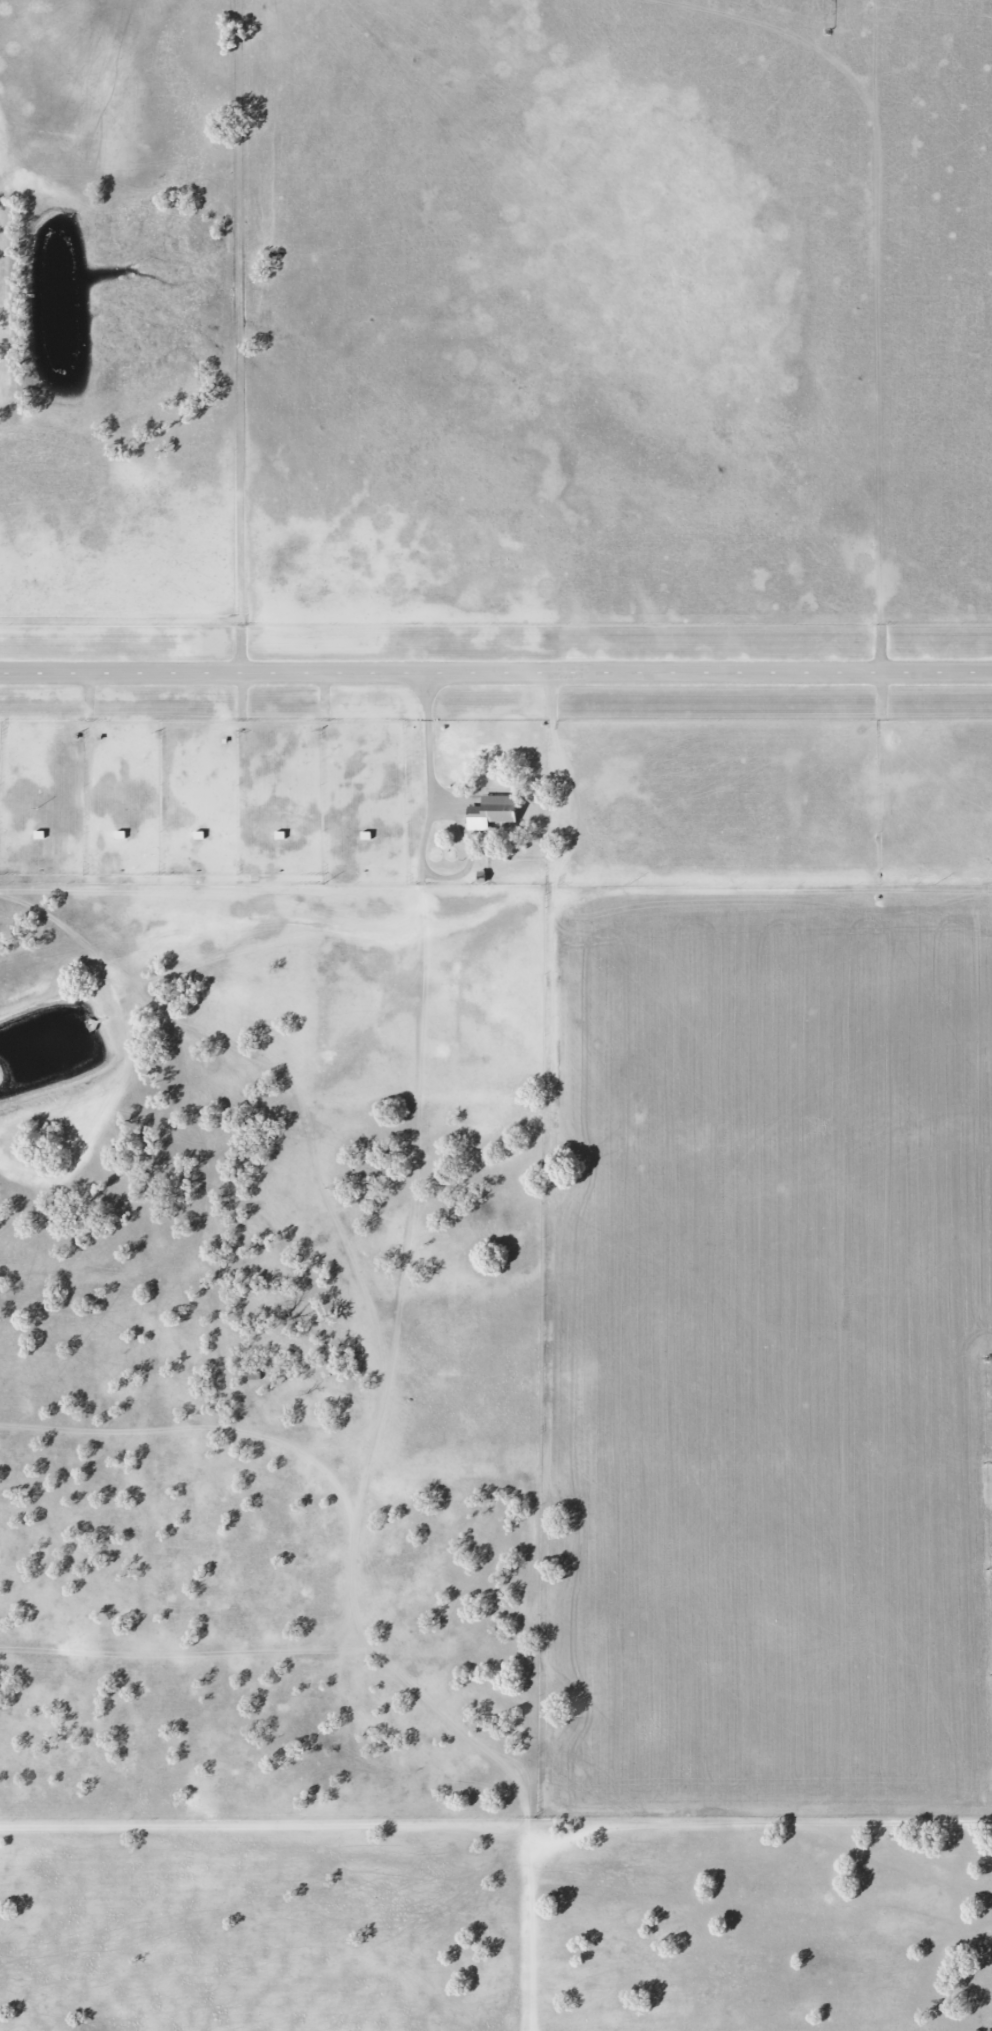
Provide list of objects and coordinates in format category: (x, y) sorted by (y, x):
airport runway: (496, 671)
road: (496, 671)
building: (492, 808)
building: (480, 876)

